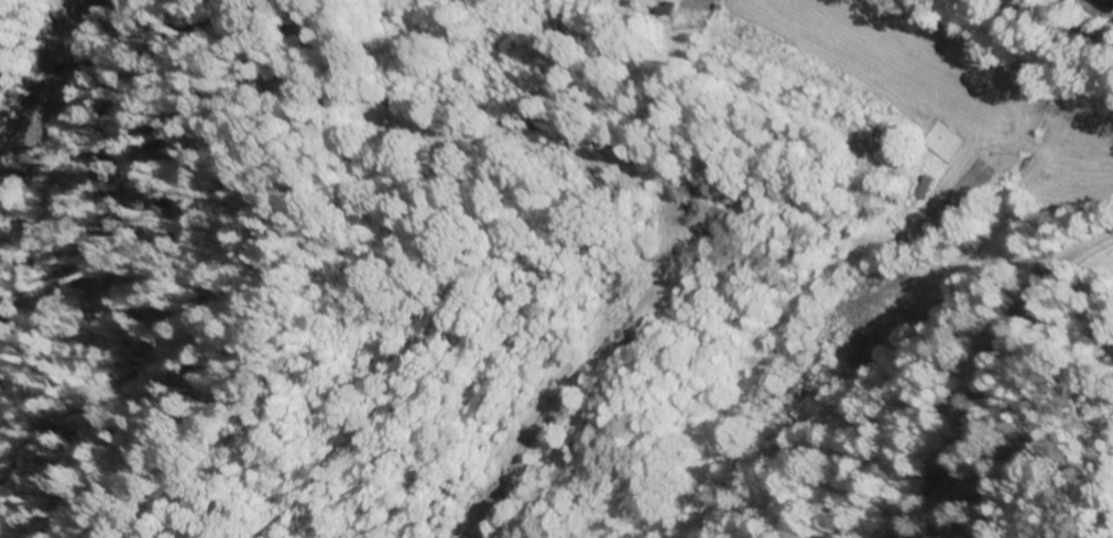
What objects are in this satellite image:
building: (1102, 8)
road: (1061, 25)

